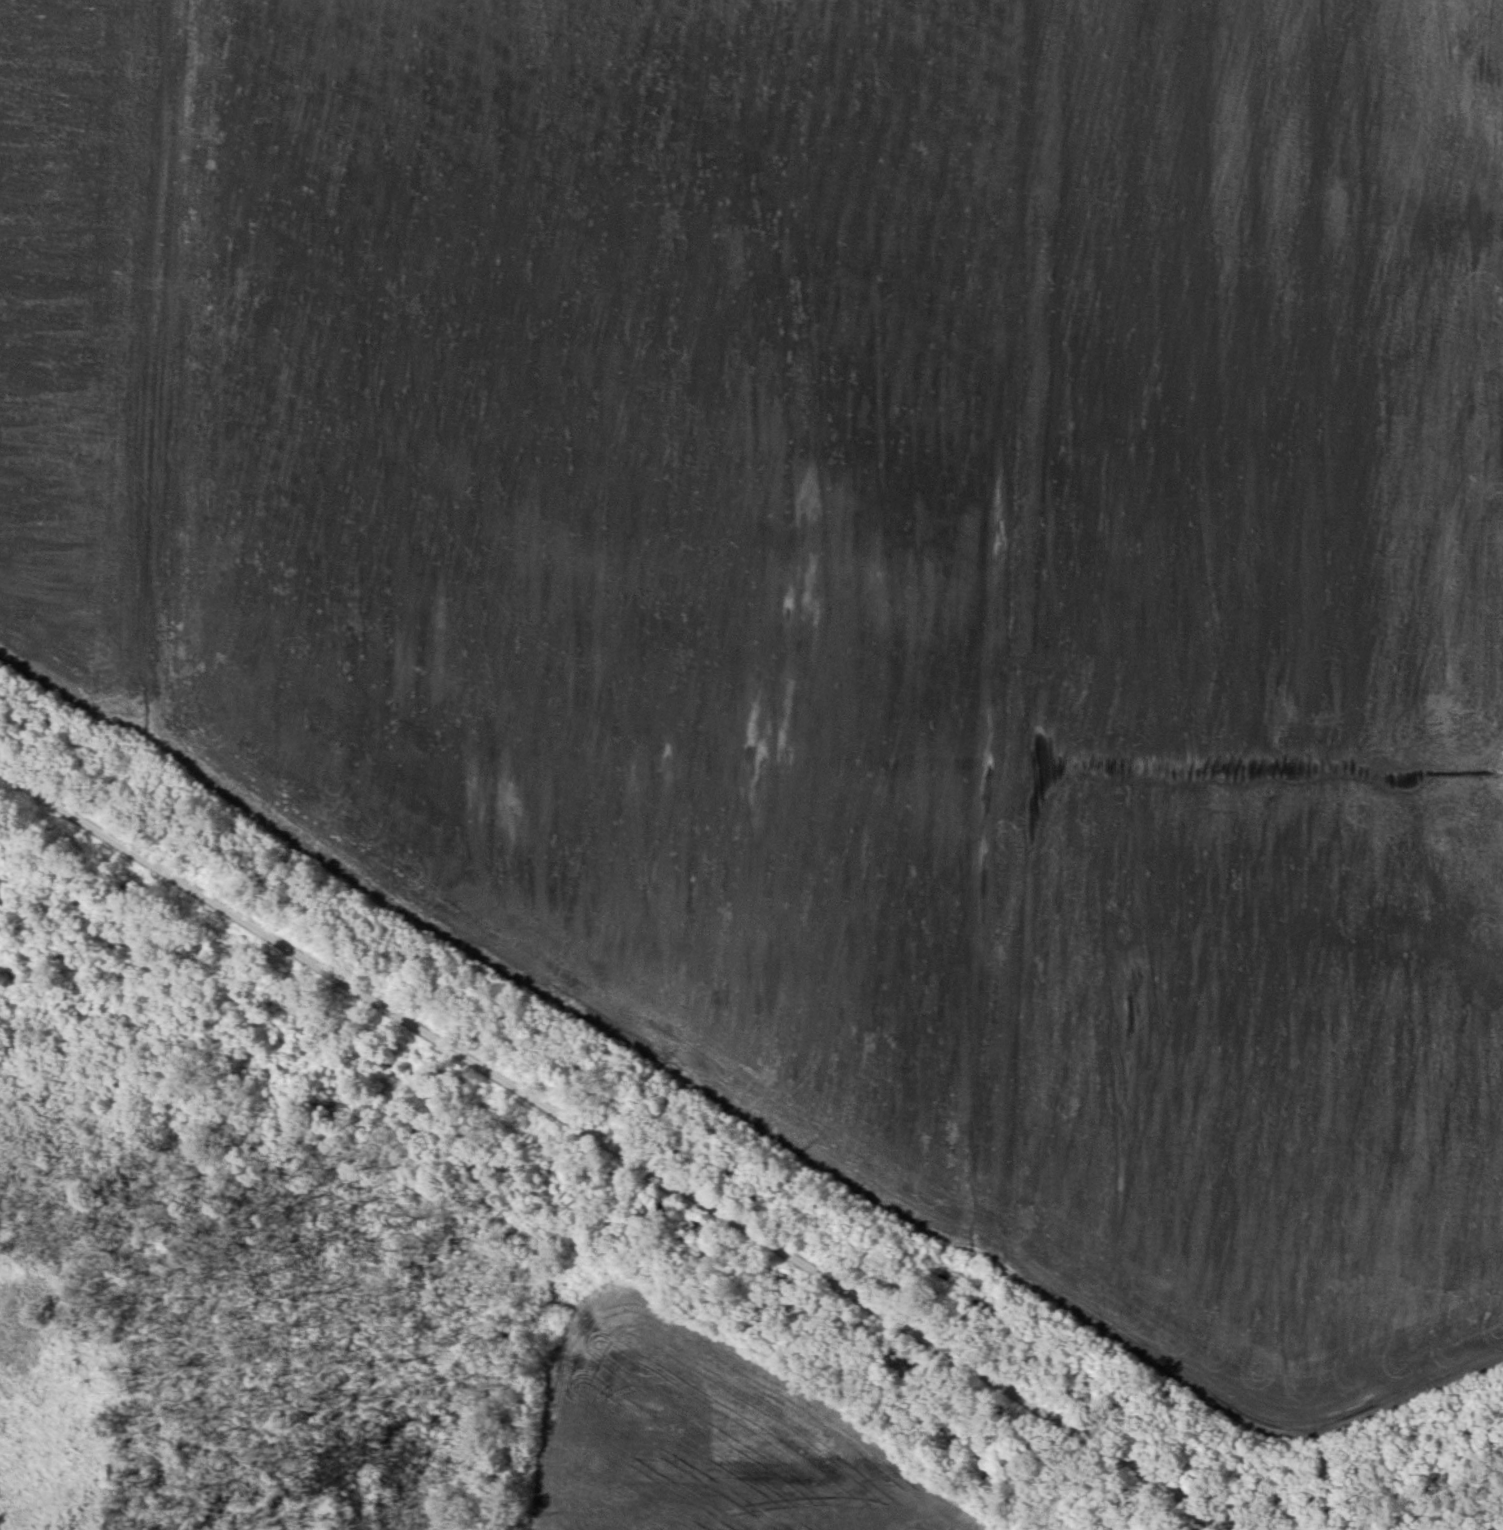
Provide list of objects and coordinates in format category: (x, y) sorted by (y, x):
crop: (846, 579)
road: (616, 1150)
crop: (708, 1435)

